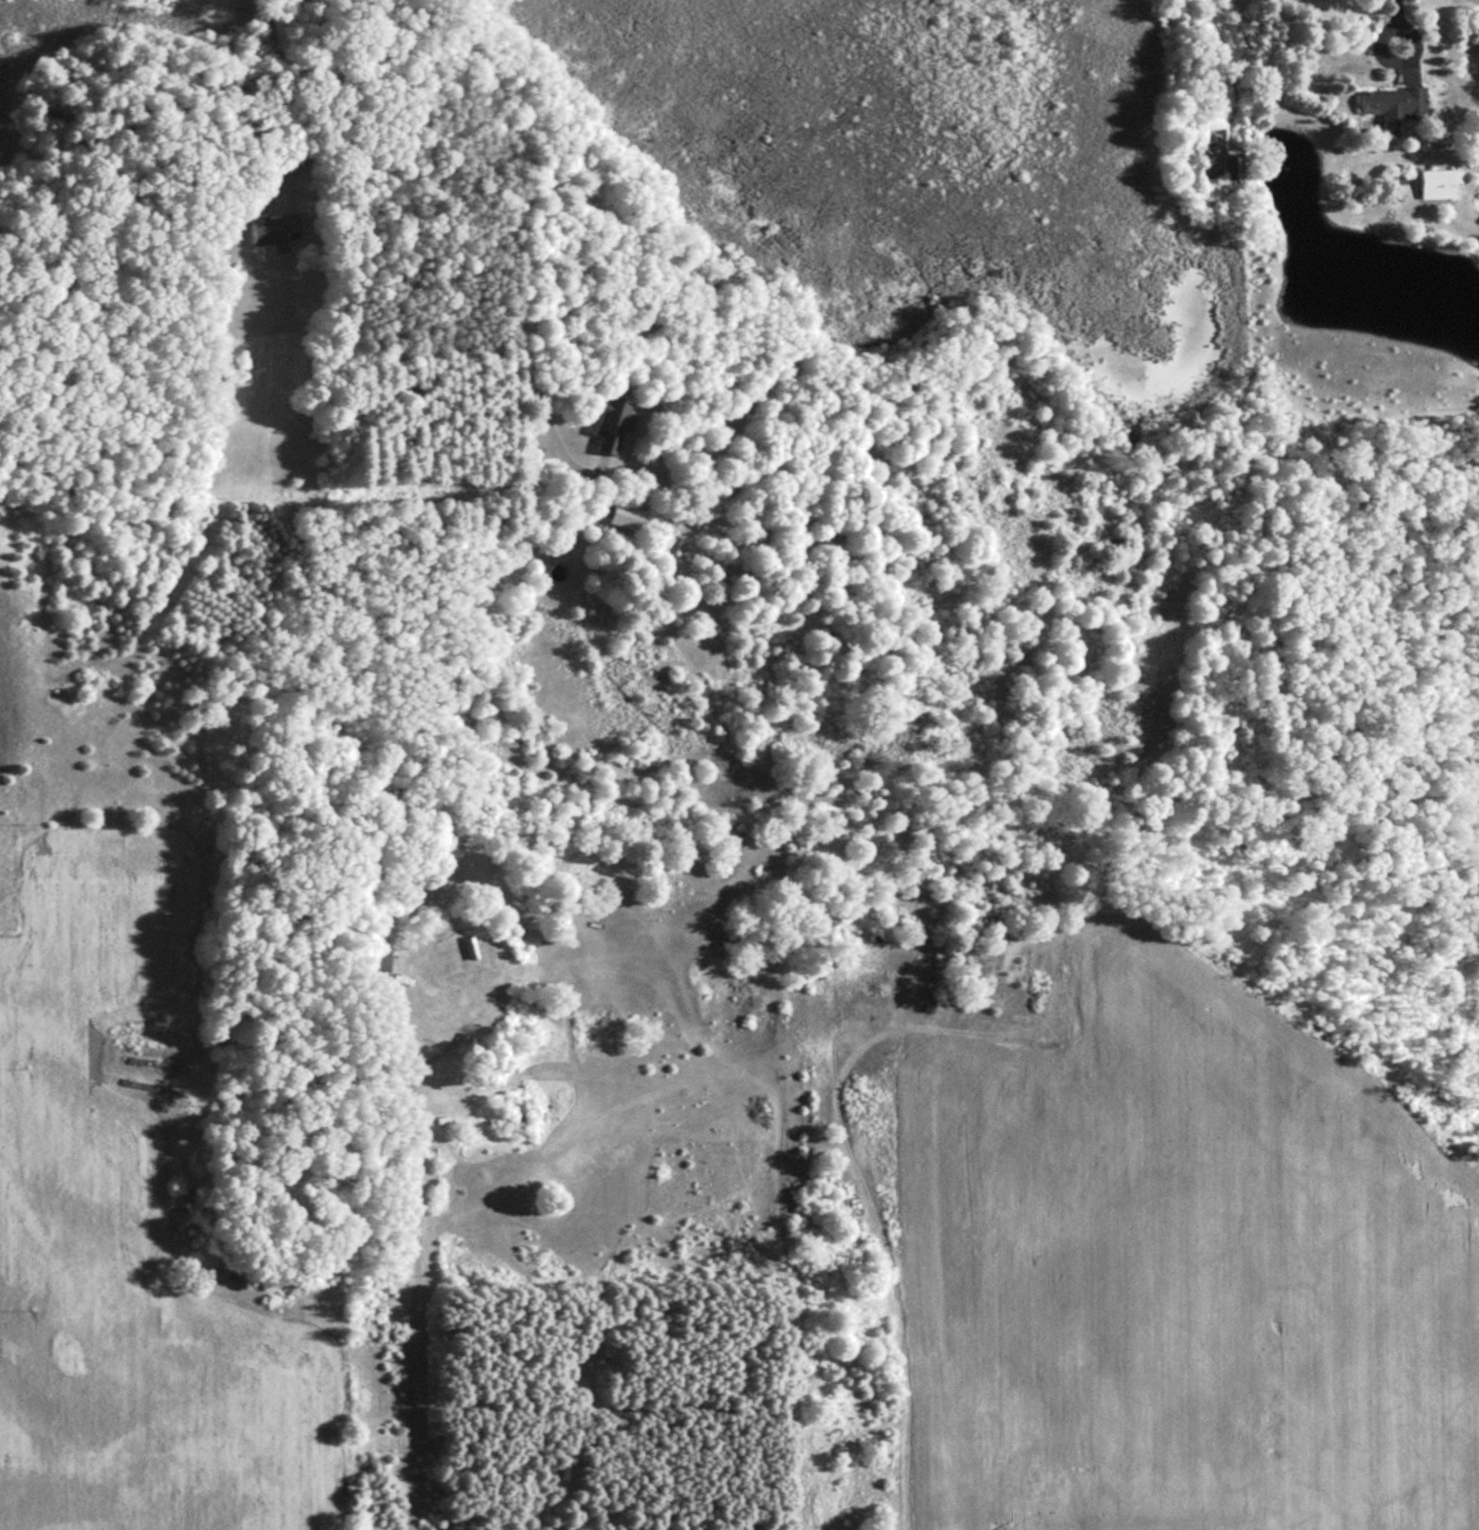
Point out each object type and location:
road: (1394, 10)
road: (1375, 33)
road: (277, 98)
building: (1215, 99)
building: (1389, 104)
building: (1229, 167)
building: (1433, 178)
building: (270, 228)
building: (605, 423)
building: (621, 516)
building: (375, 961)
building: (450, 994)
building: (532, 1278)

